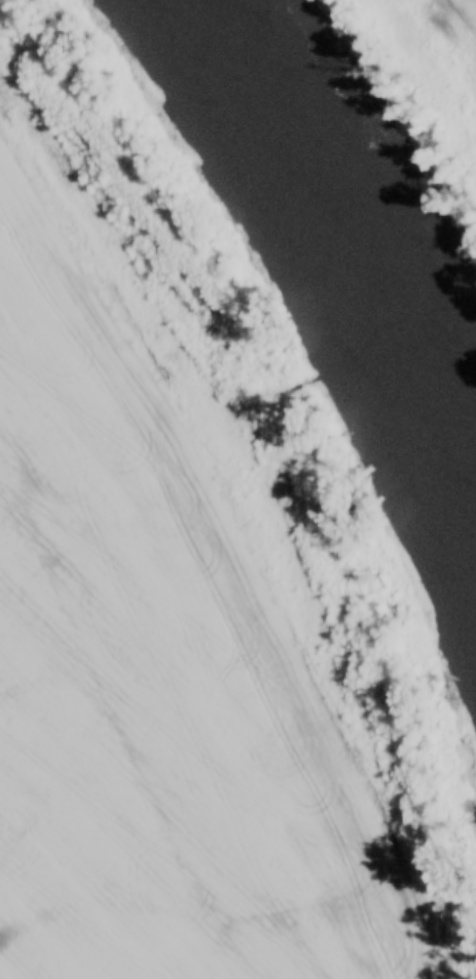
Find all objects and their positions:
river: (334, 261)

